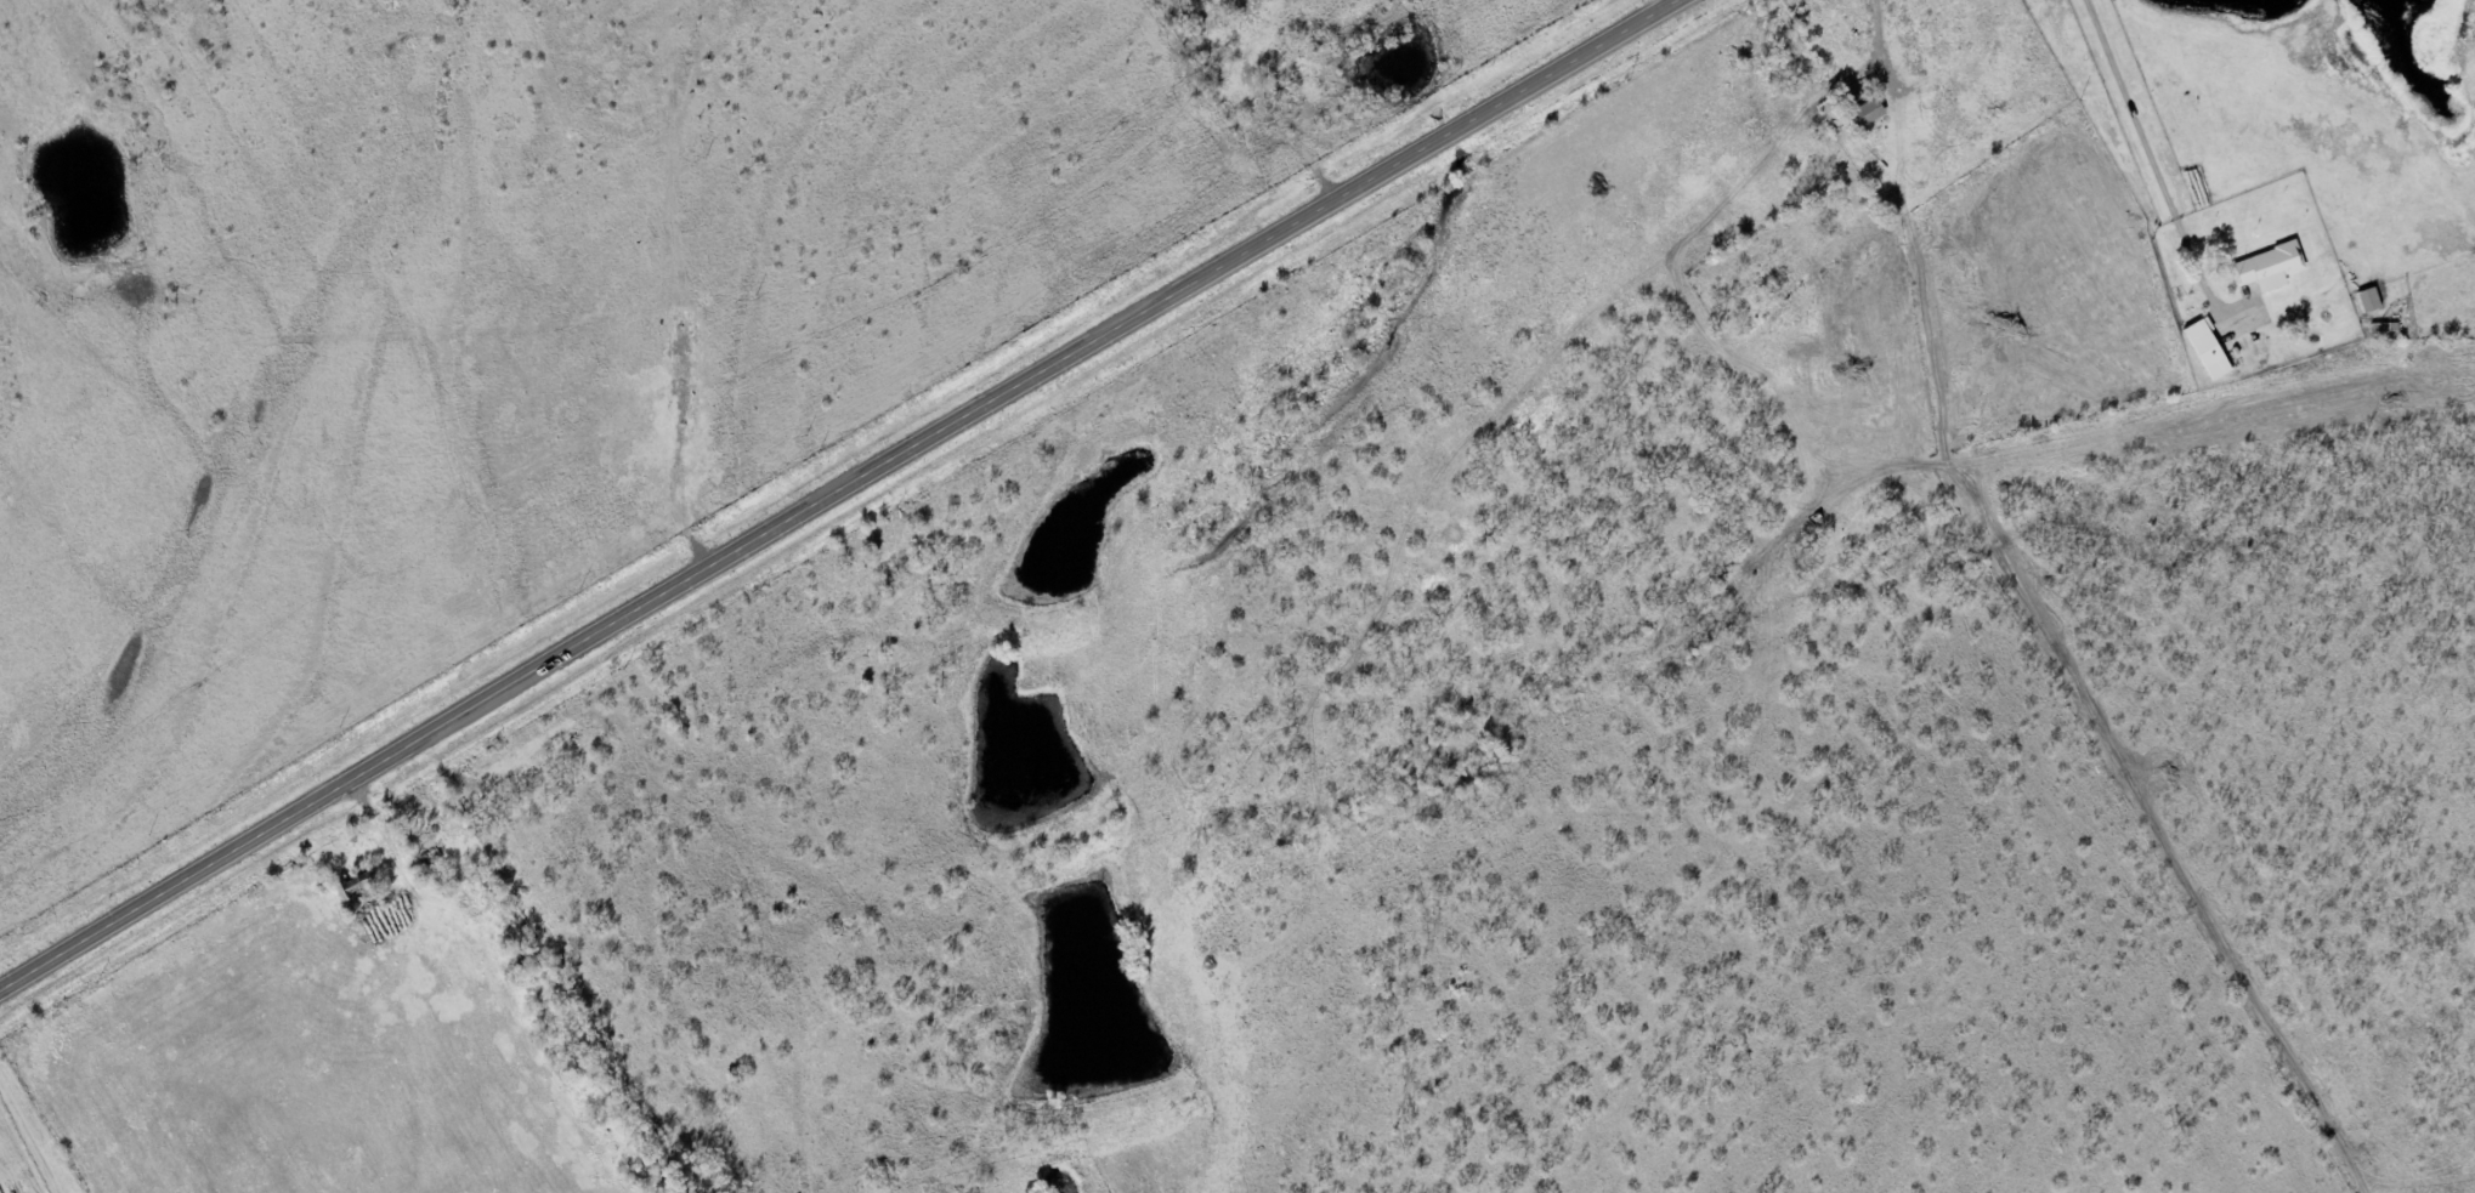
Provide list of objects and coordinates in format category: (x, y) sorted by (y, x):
building: (1868, 114)
building: (2269, 268)
building: (2369, 301)
building: (2208, 351)
road: (842, 494)
road: (28, 1135)

